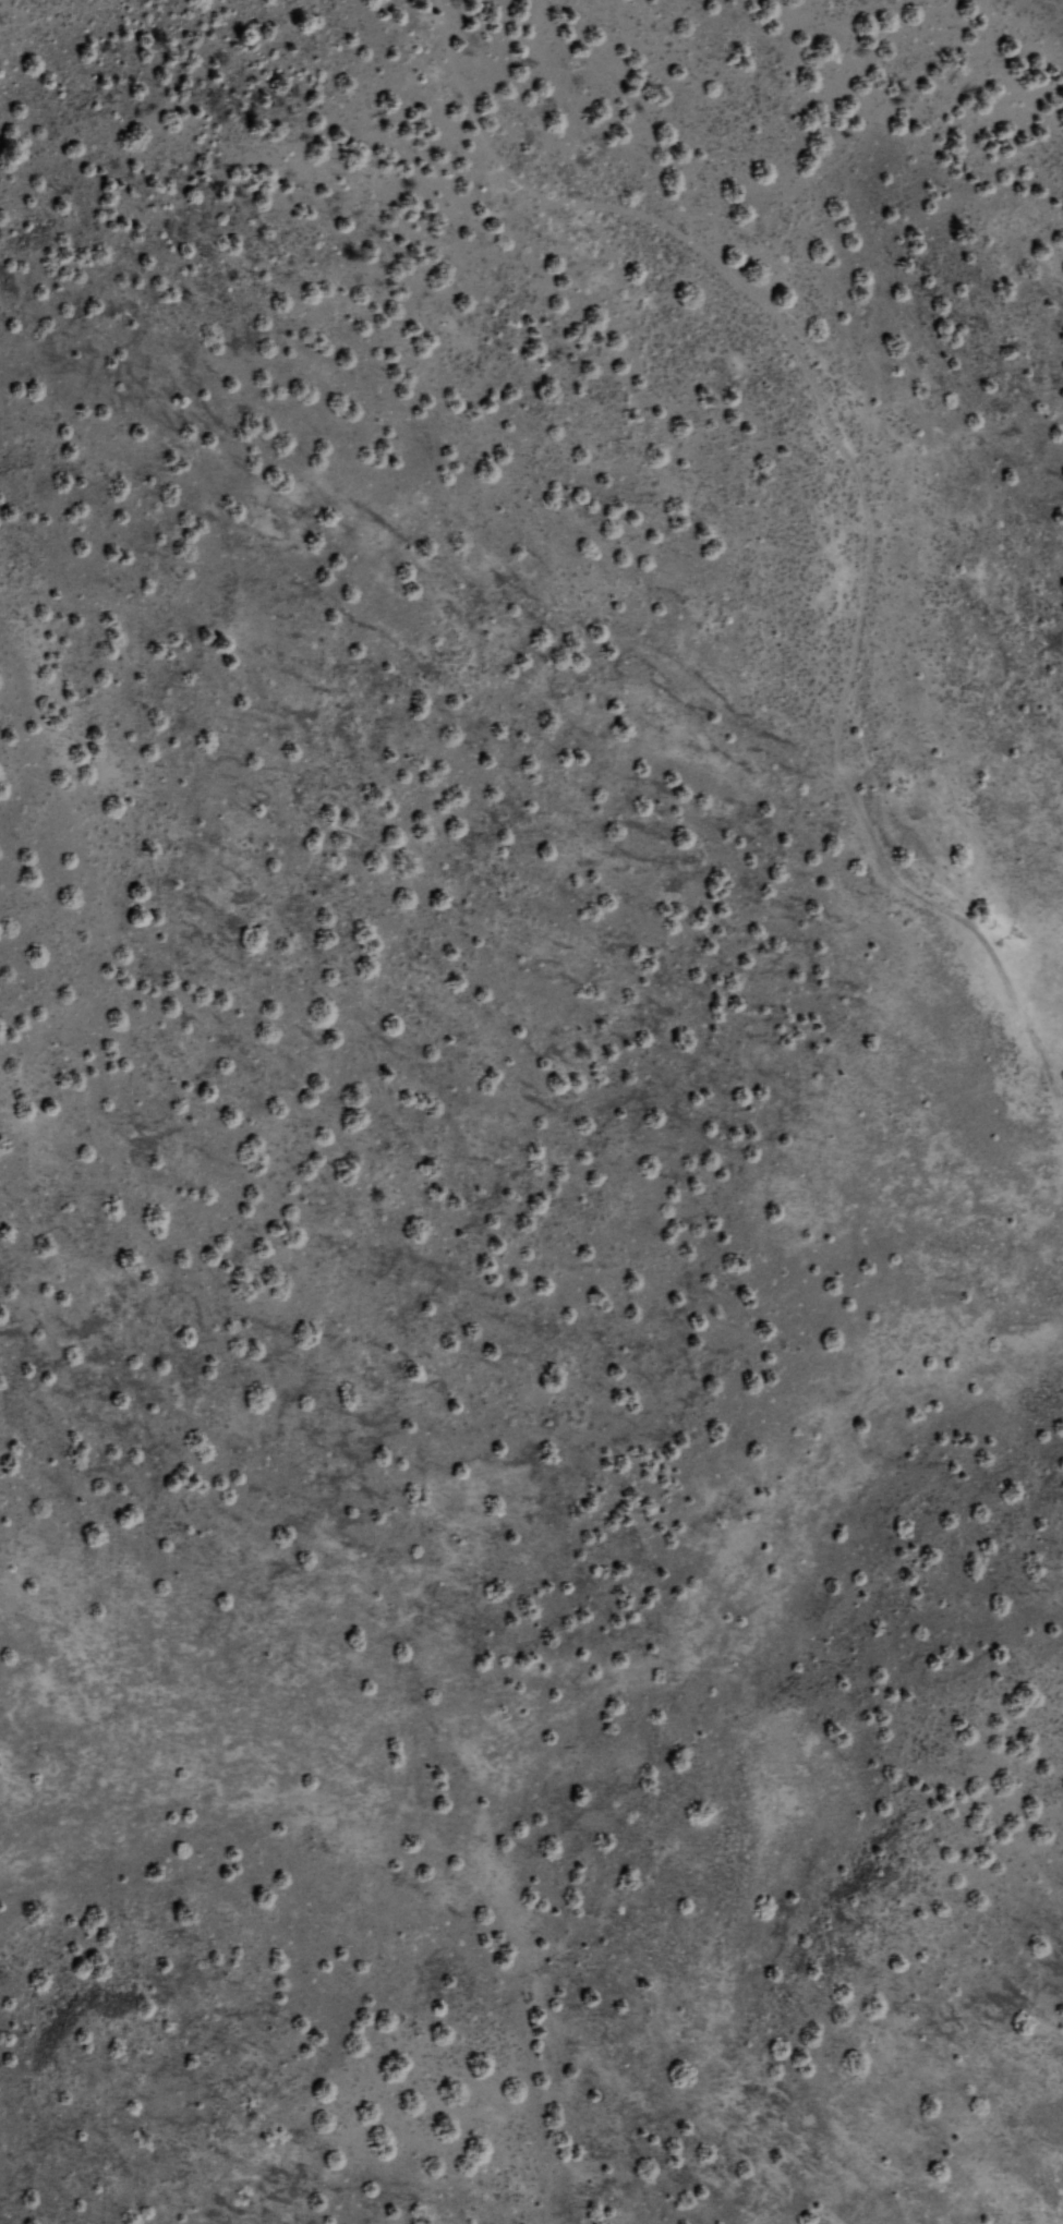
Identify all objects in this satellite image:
road: (865, 491)

